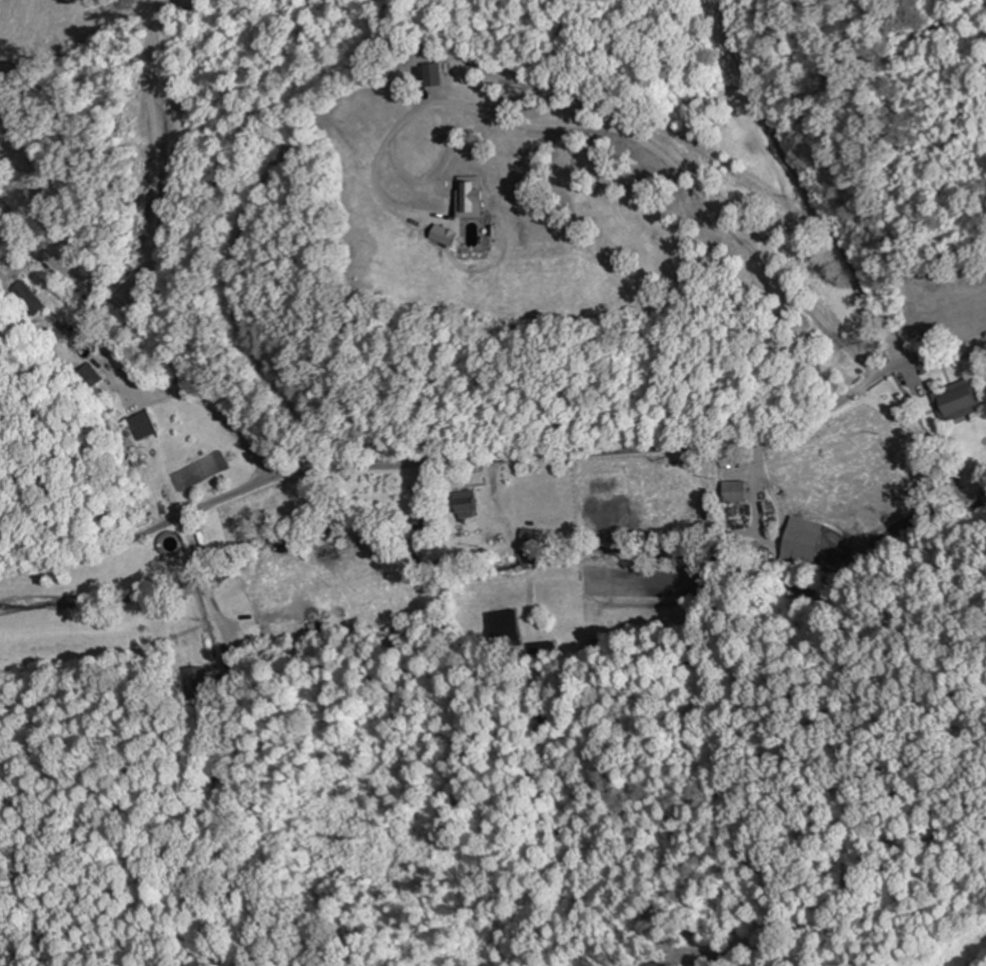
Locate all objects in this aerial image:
road: (841, 180)
building: (469, 203)
building: (23, 297)
building: (60, 334)
road: (146, 334)
building: (88, 374)
building: (957, 400)
building: (140, 424)
road: (494, 461)
building: (734, 490)
building: (464, 503)
building: (422, 522)
building: (801, 541)
building: (328, 544)
building: (505, 627)
building: (542, 647)
building: (196, 683)

